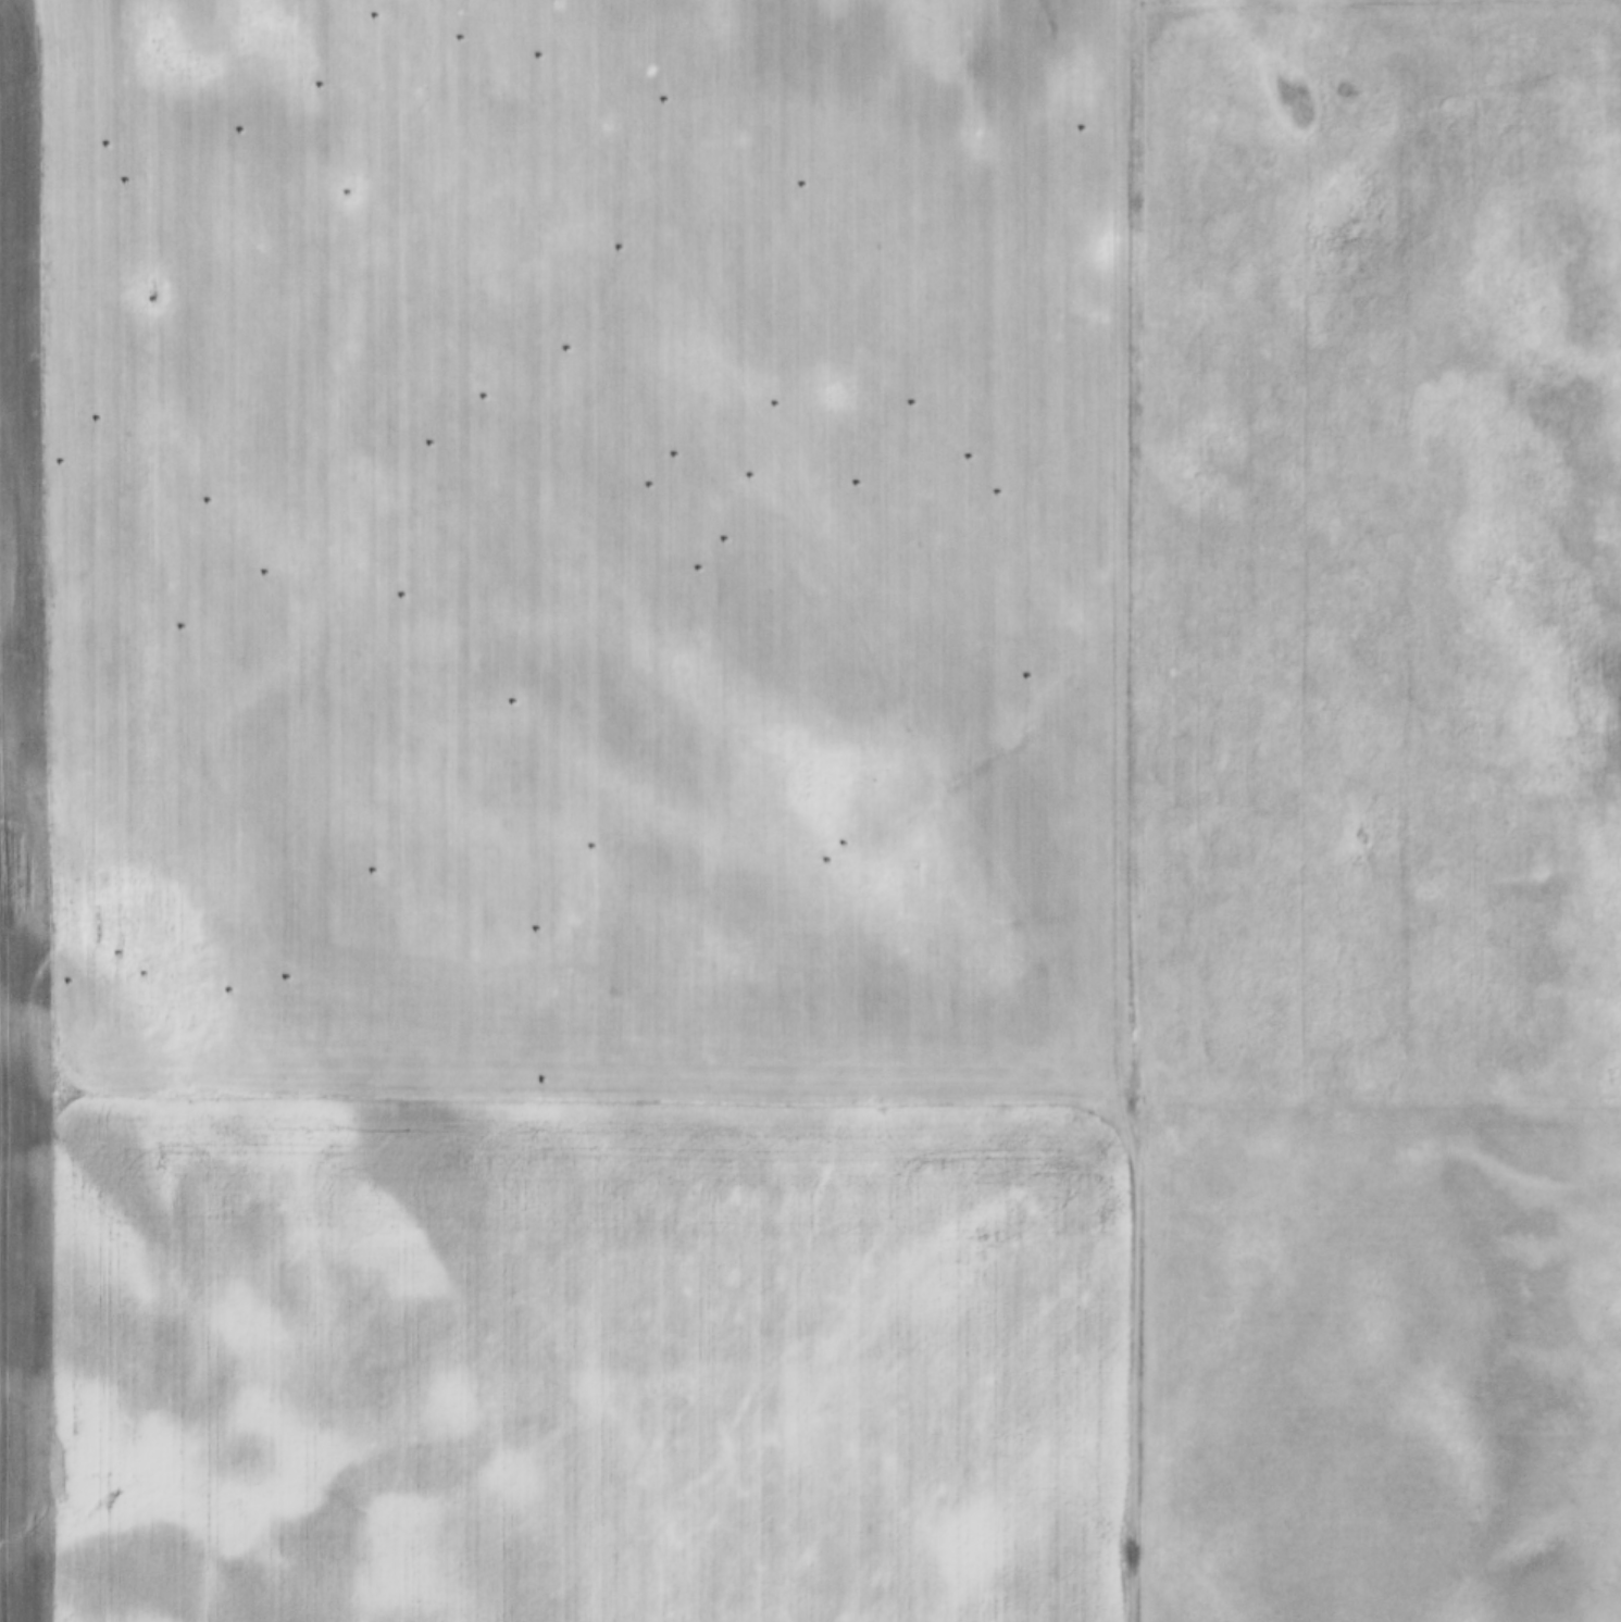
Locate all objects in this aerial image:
road: (1134, 811)

